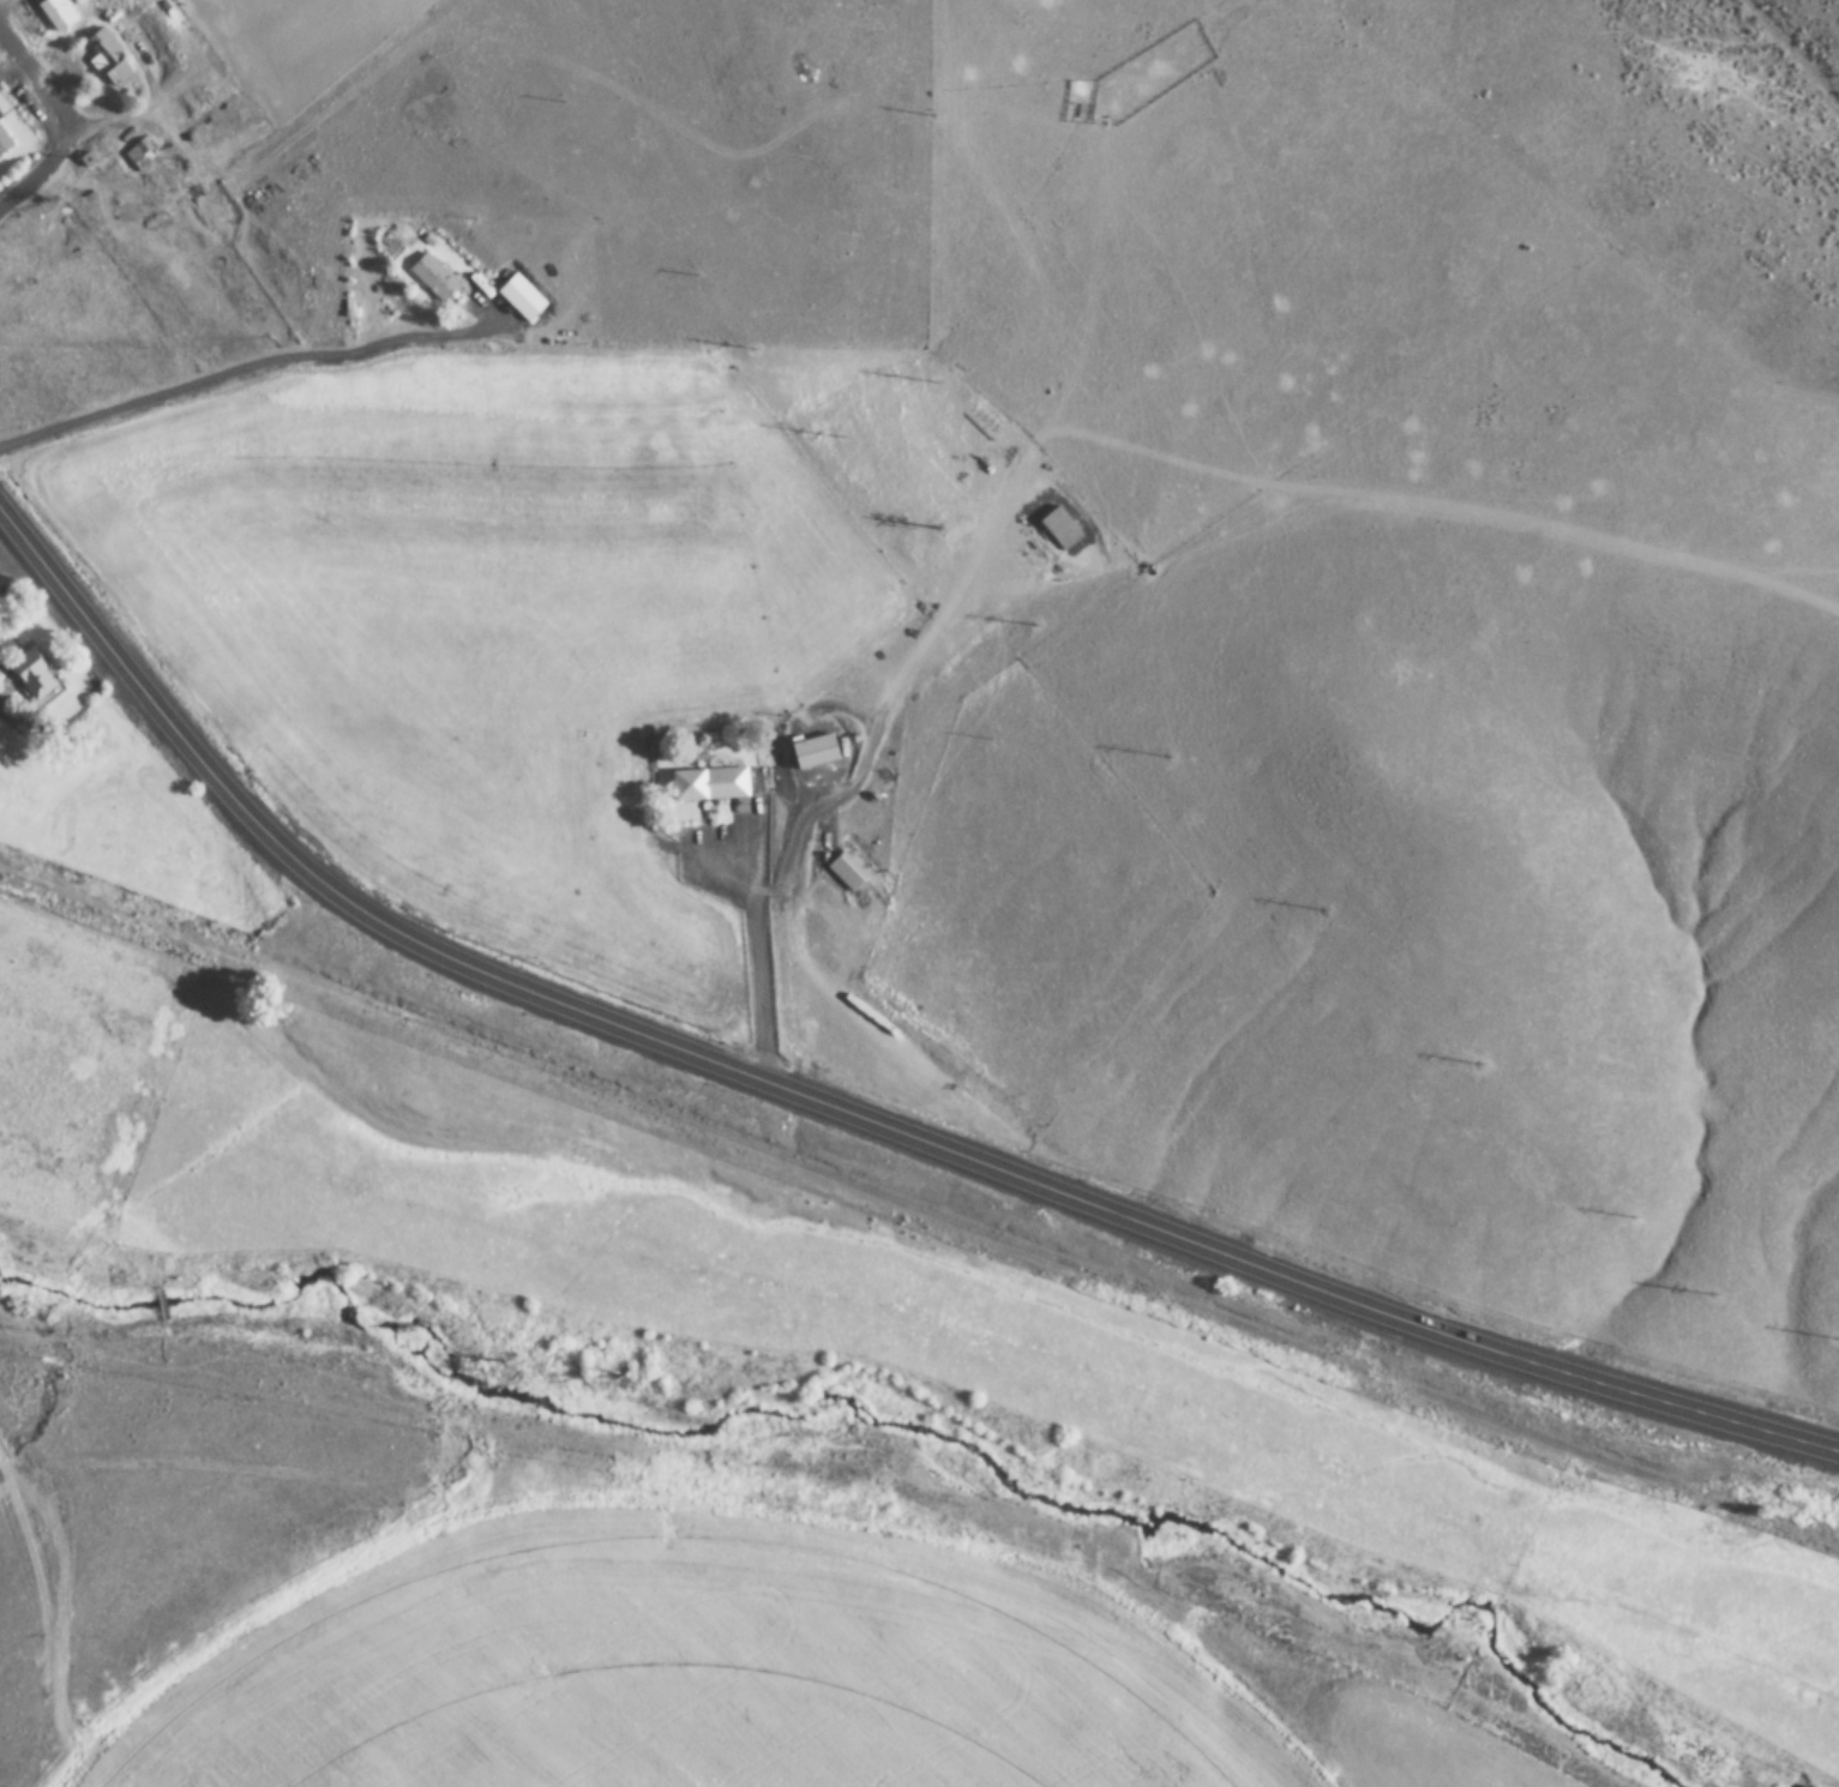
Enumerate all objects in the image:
building: (76, 1)
building: (56, 14)
building: (107, 59)
road: (32, 80)
building: (4, 142)
road: (37, 167)
building: (432, 277)
building: (523, 297)
building: (32, 674)
road: (157, 709)
building: (815, 751)
building: (709, 784)
road: (1075, 1198)

